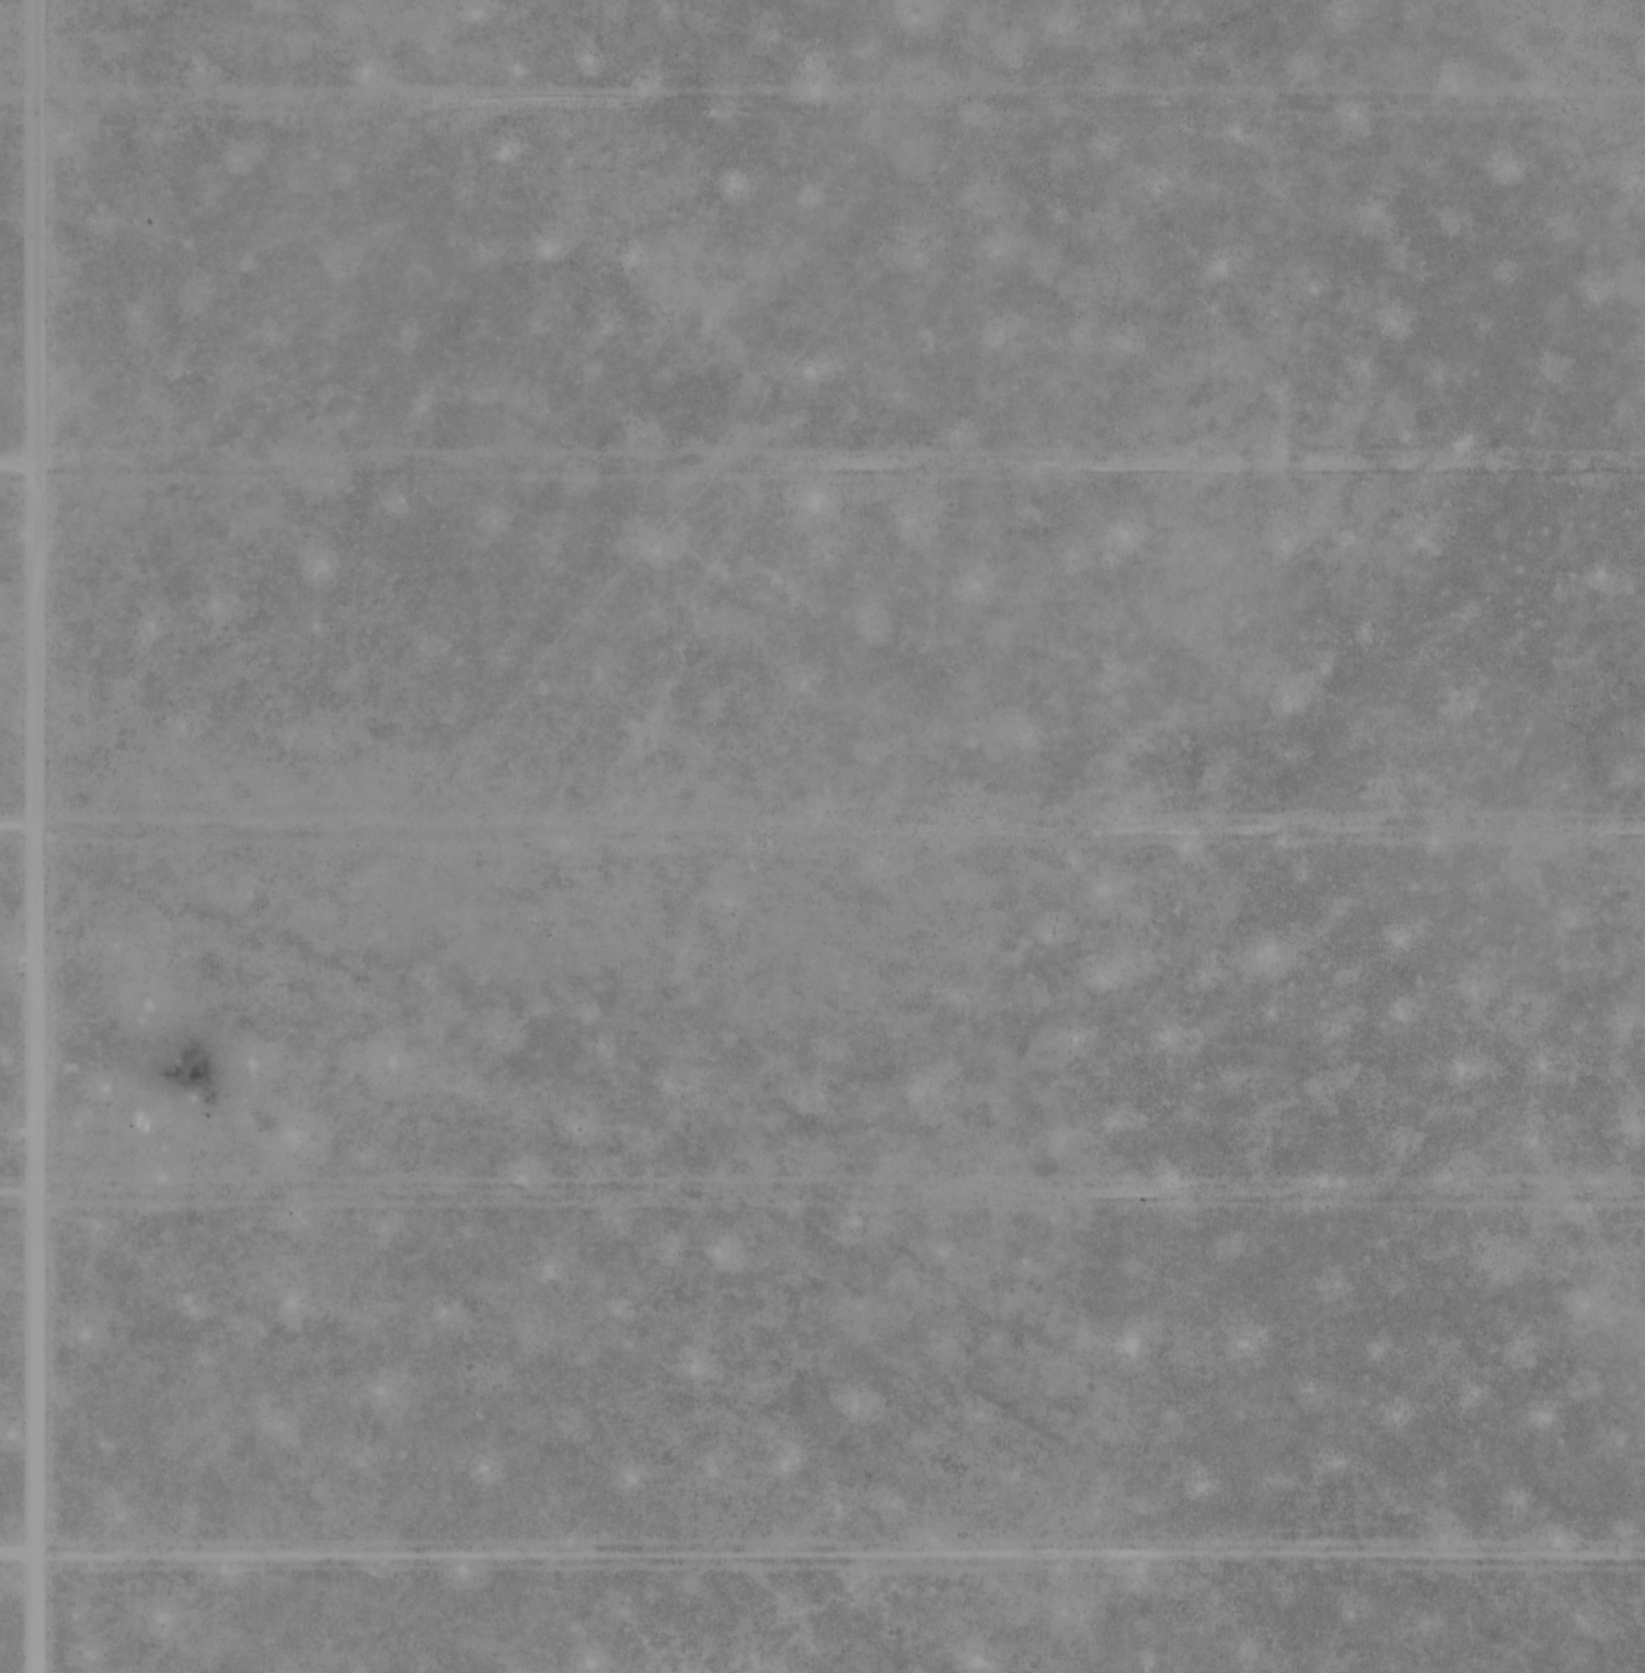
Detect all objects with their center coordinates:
road: (37, 413)
road: (19, 463)
road: (18, 826)
road: (35, 1249)
road: (18, 1550)

